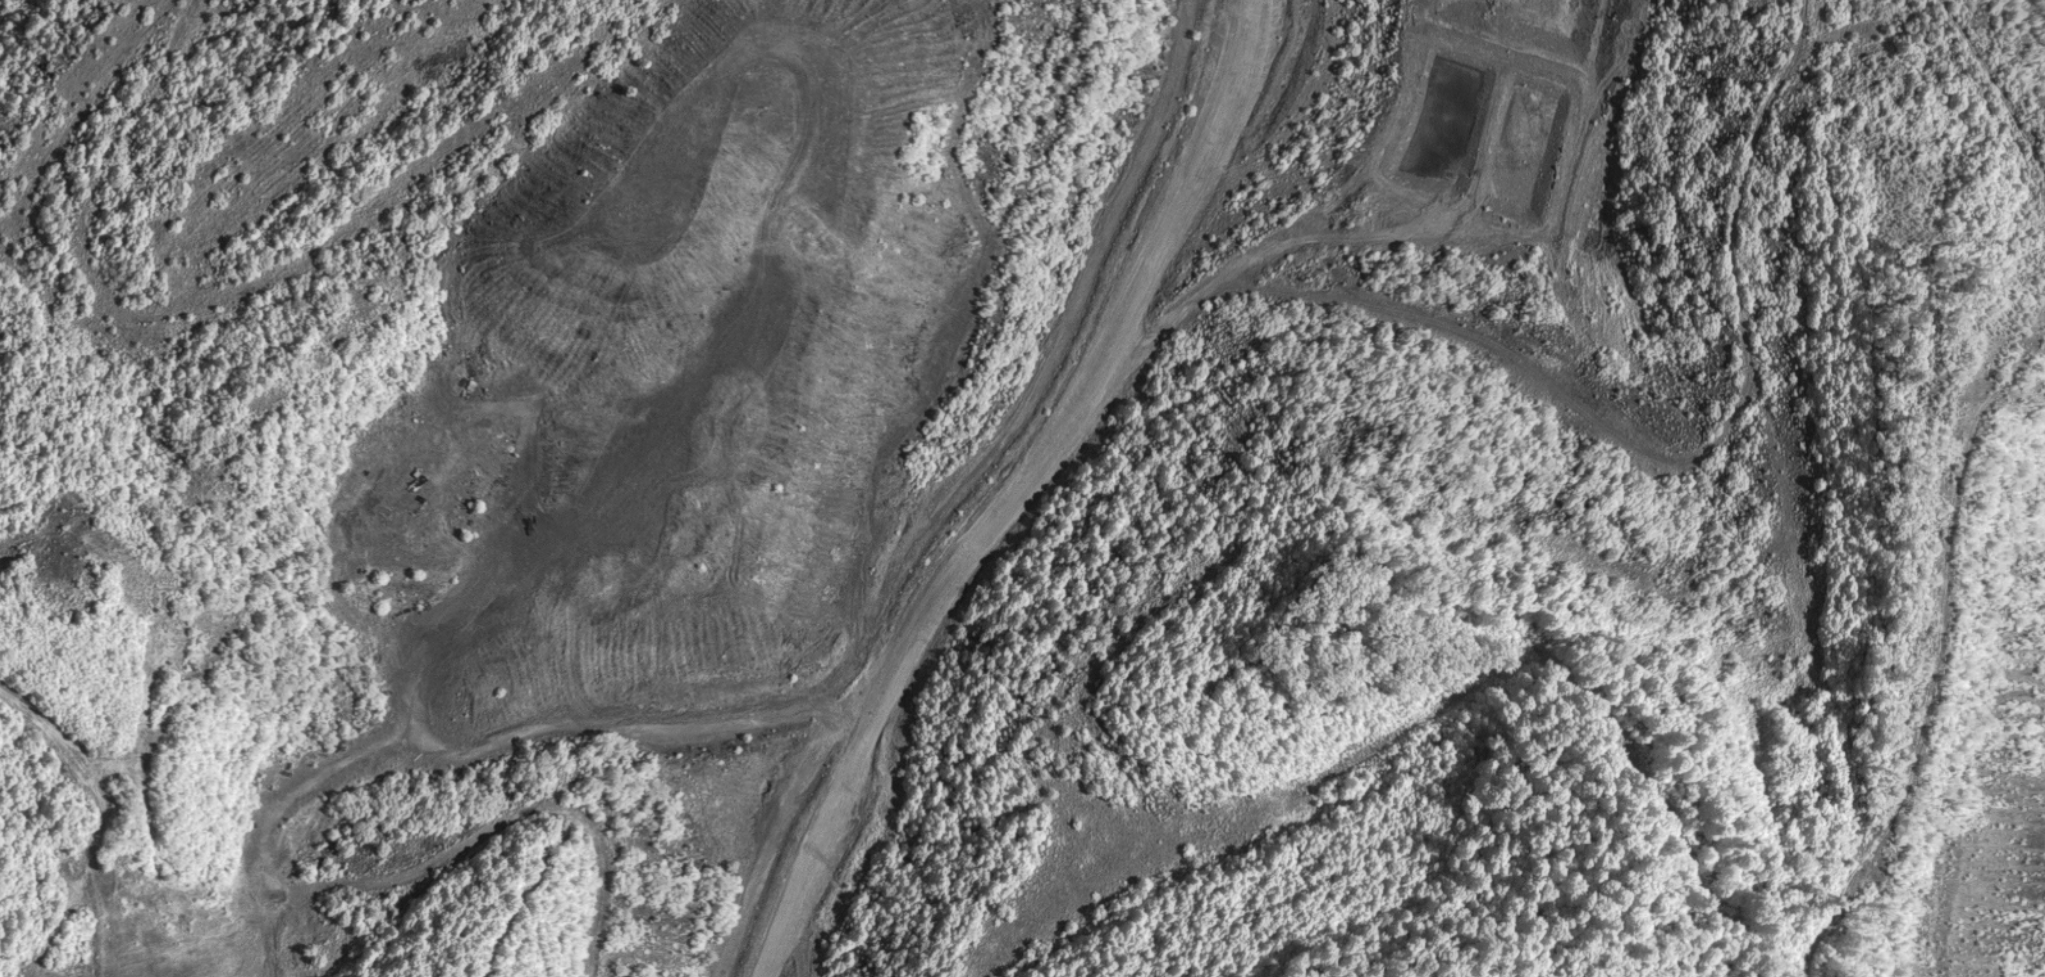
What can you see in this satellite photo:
quarry: (1022, 488)

